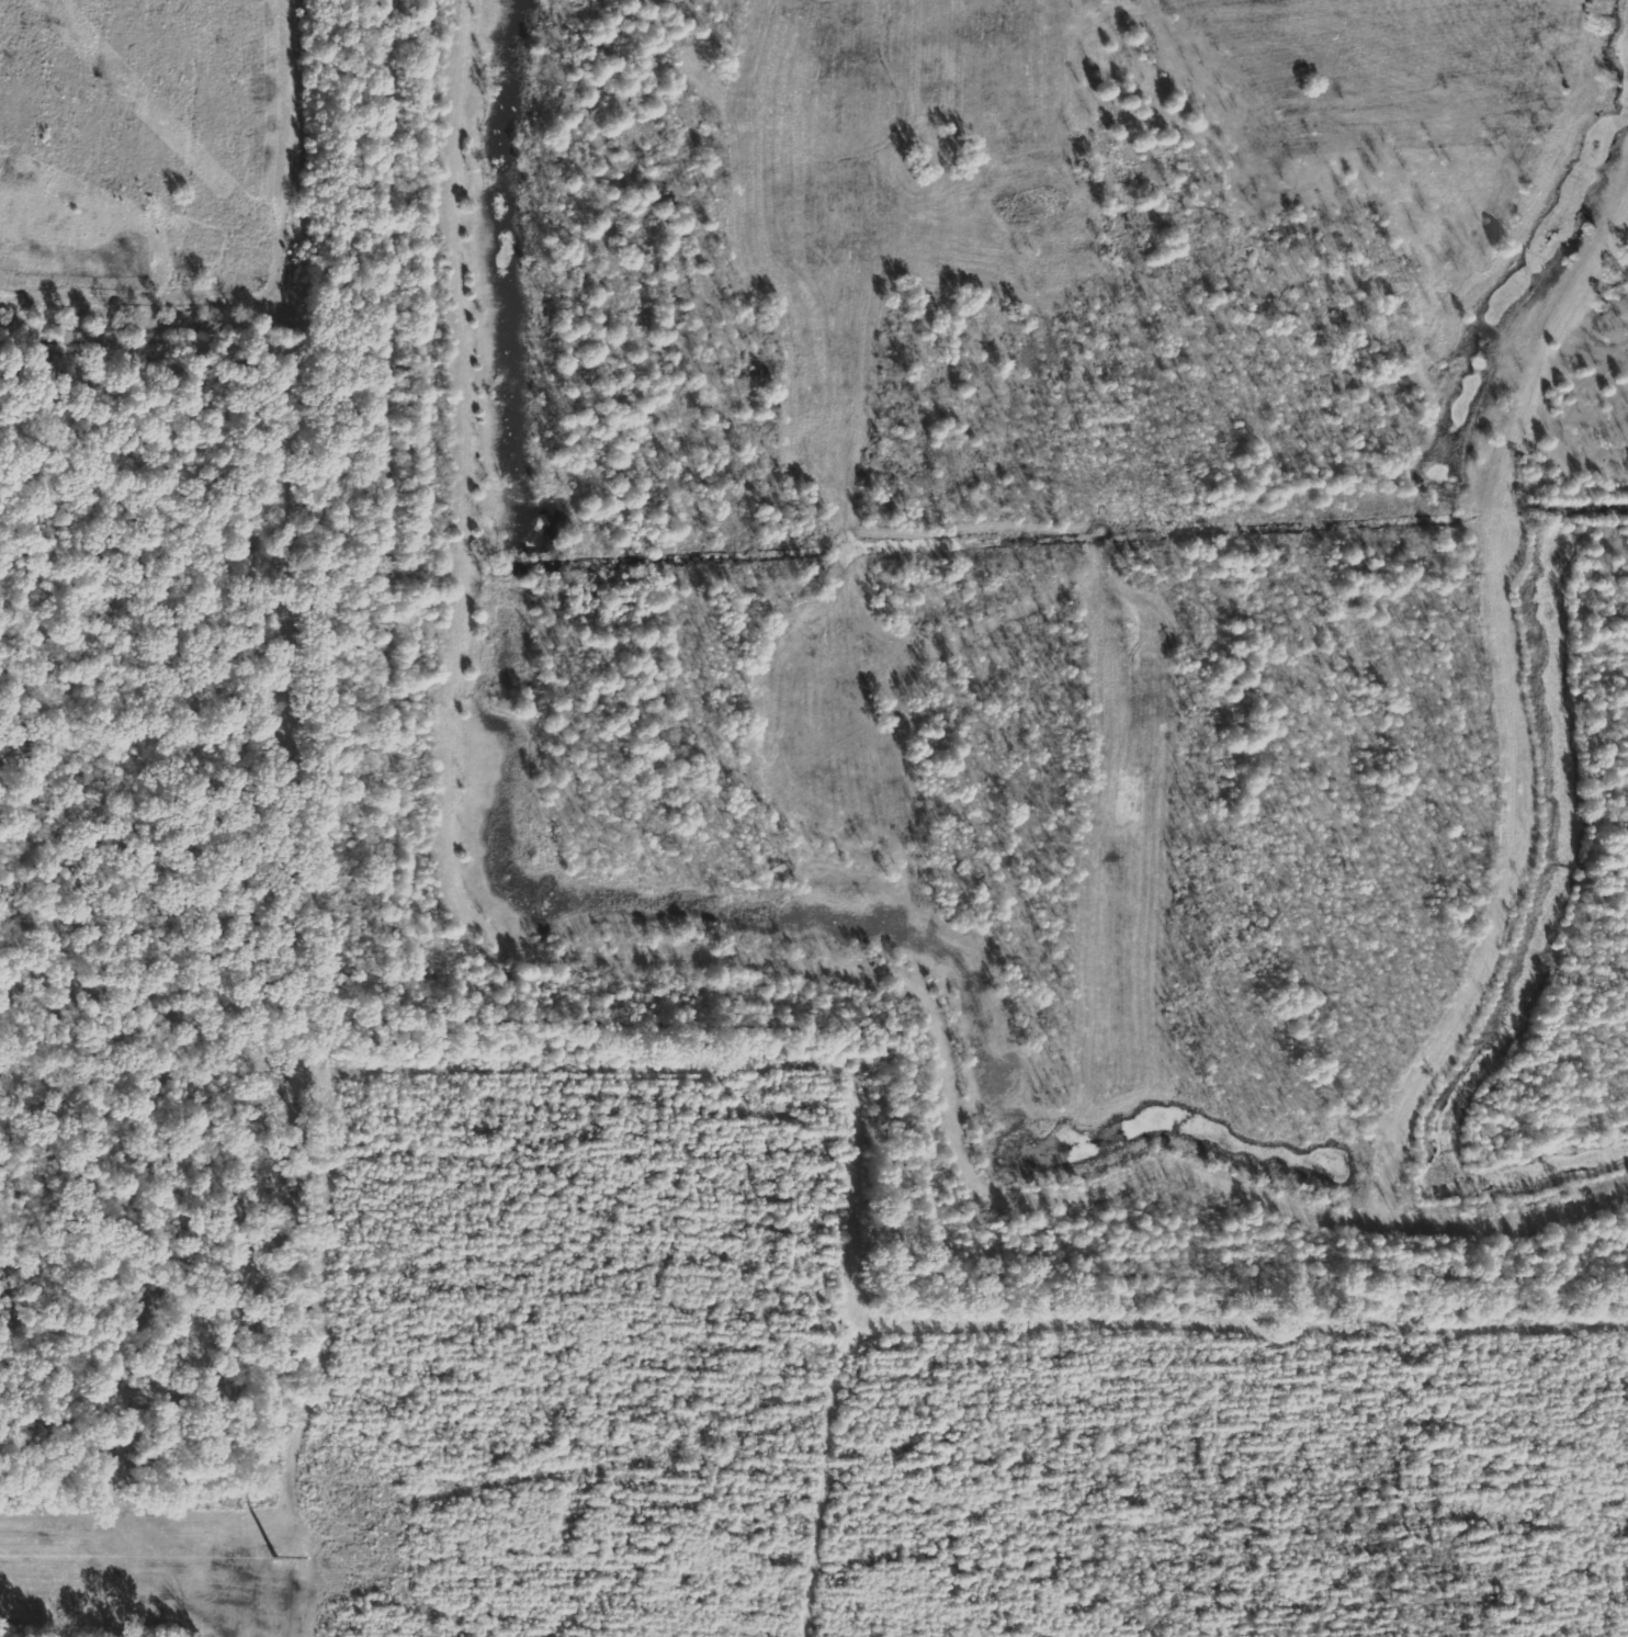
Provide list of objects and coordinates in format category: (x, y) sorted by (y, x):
road: (1554, 120)

